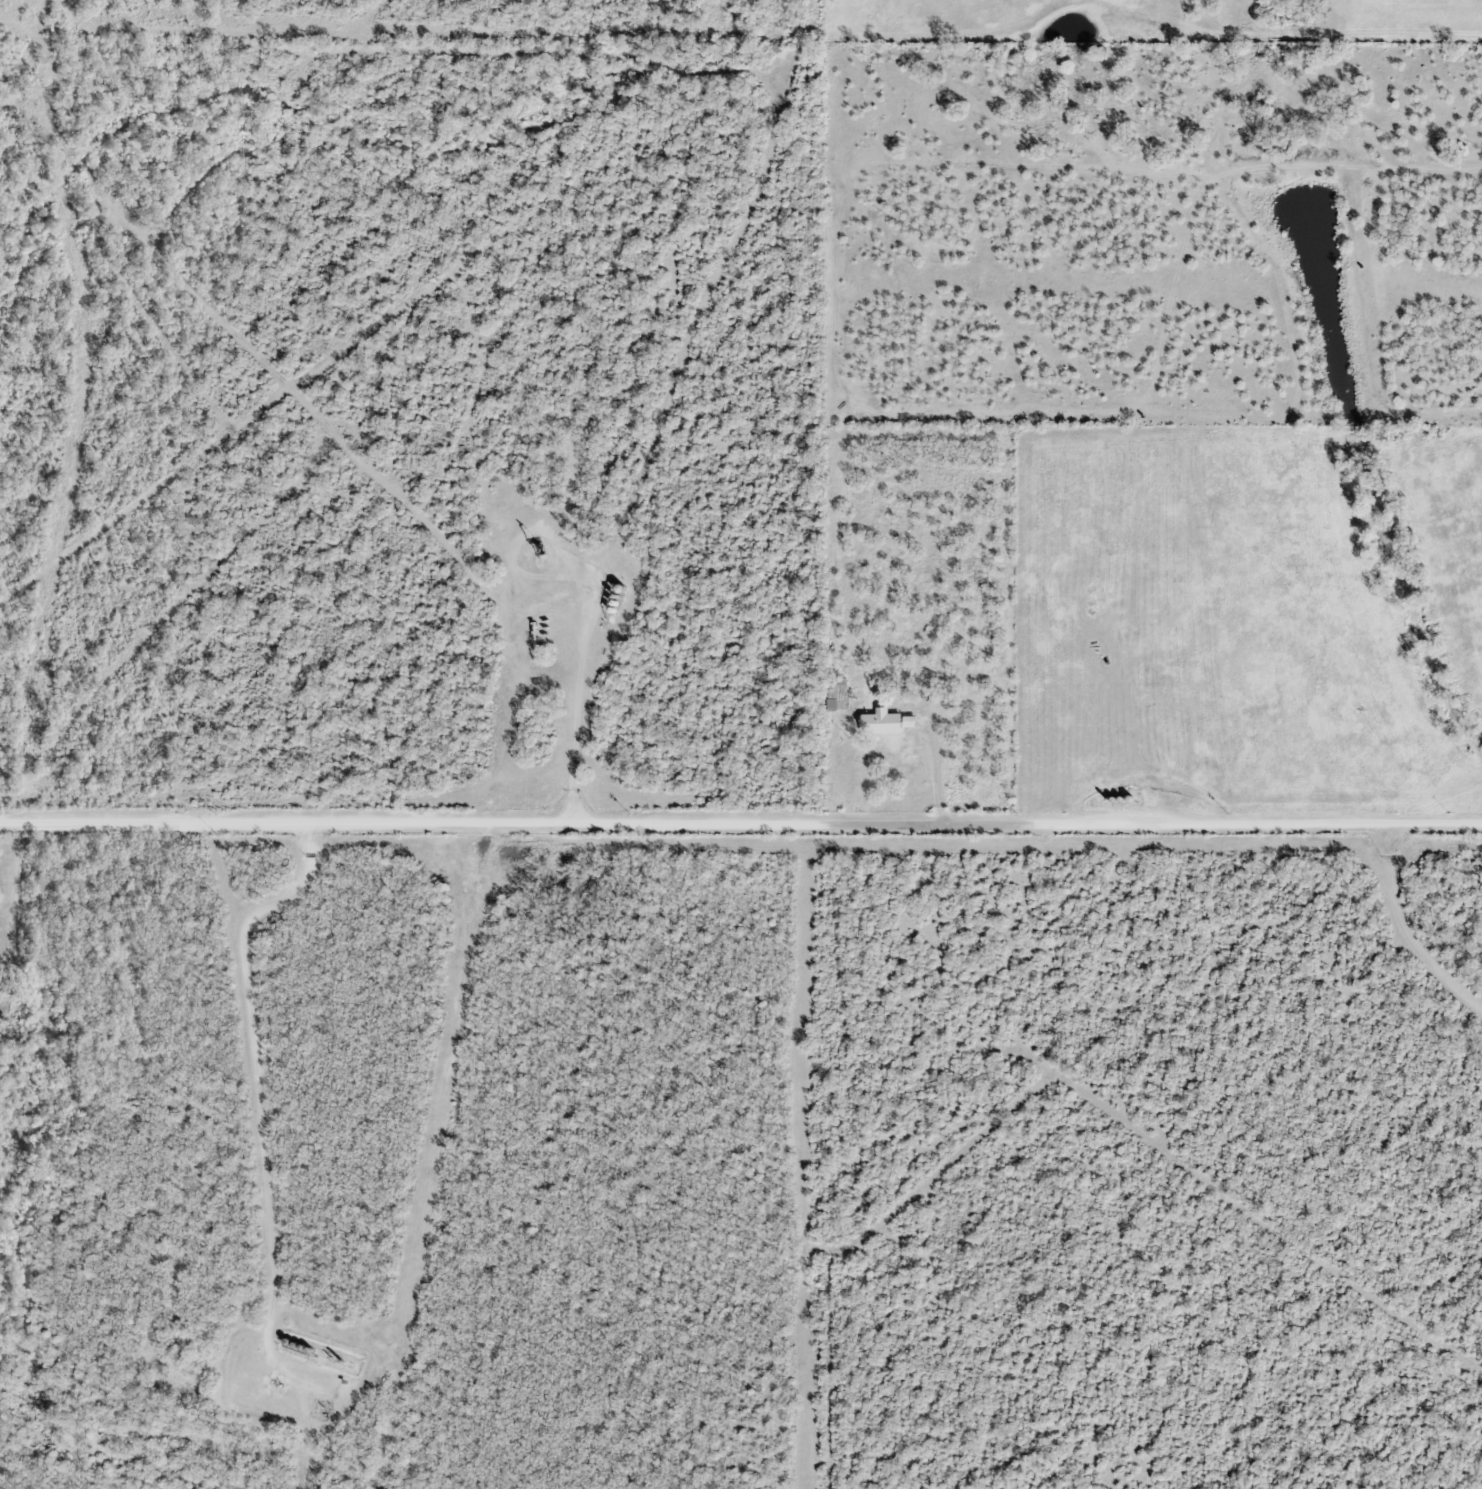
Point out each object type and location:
petroleum well: (541, 537)
building: (838, 702)
building: (886, 720)
road: (741, 822)

